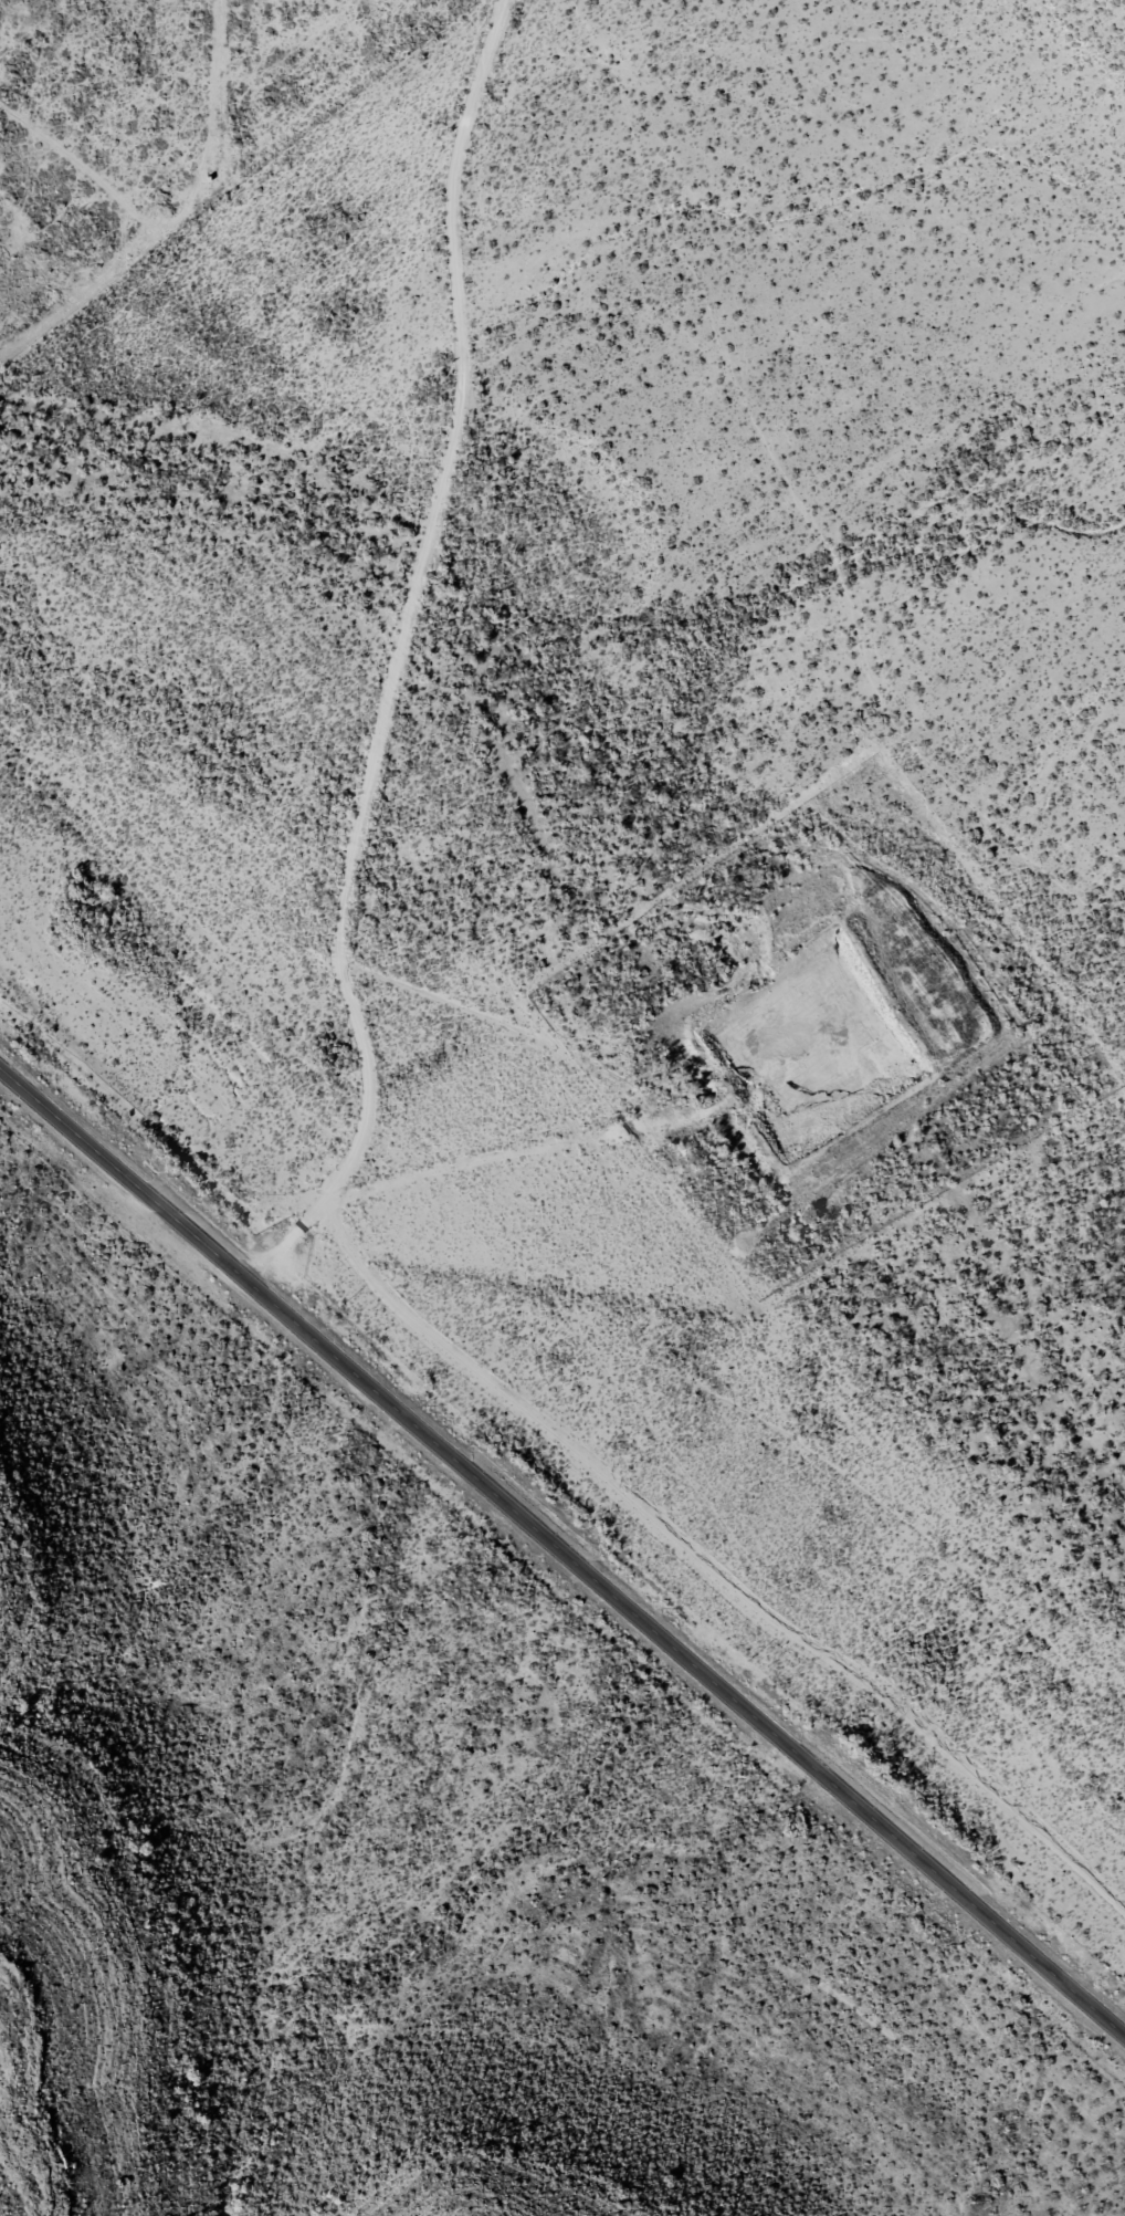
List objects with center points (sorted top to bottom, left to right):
road: (396, 670)
road: (562, 1548)

